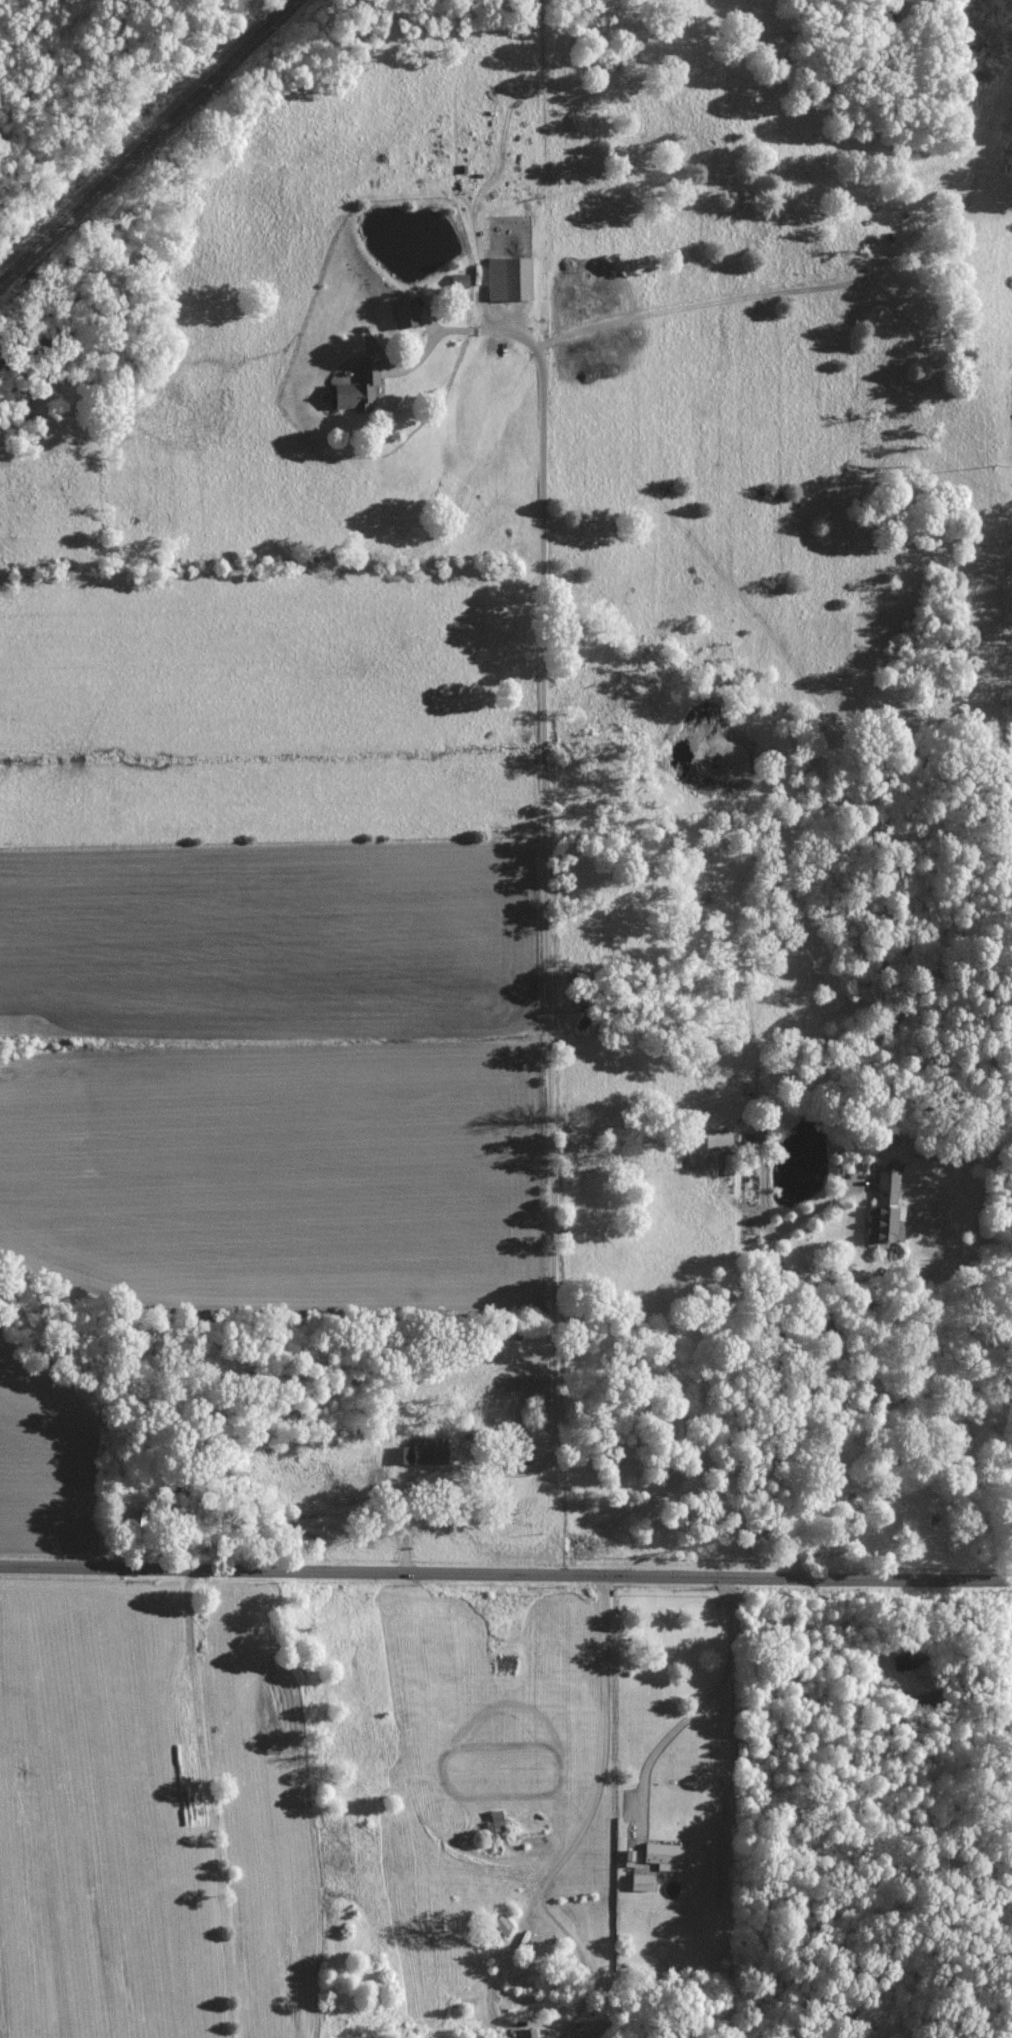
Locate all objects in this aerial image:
railway: (146, 139)
building: (510, 278)
building: (460, 280)
road: (779, 288)
building: (405, 312)
building: (358, 390)
road: (545, 999)
building: (720, 1137)
building: (886, 1208)
road: (777, 1361)
building: (431, 1450)
building: (401, 1453)
building: (139, 1522)
road: (505, 1573)
road: (698, 1705)
road: (591, 1813)
building: (667, 1855)
building: (641, 1881)
building: (533, 2033)
building: (558, 2037)

